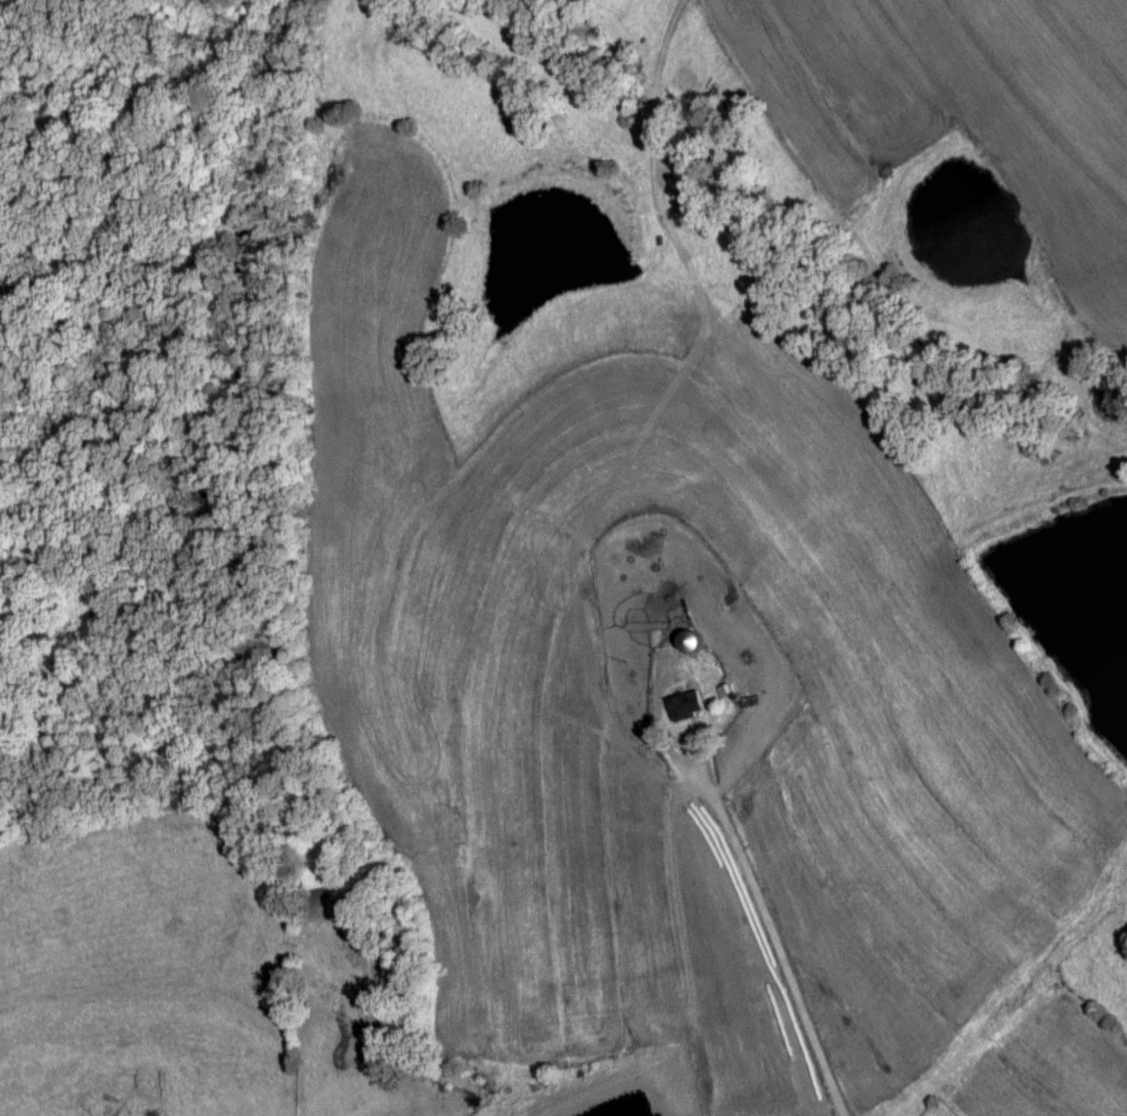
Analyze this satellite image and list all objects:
building: (688, 645)
building: (746, 705)
building: (684, 708)

